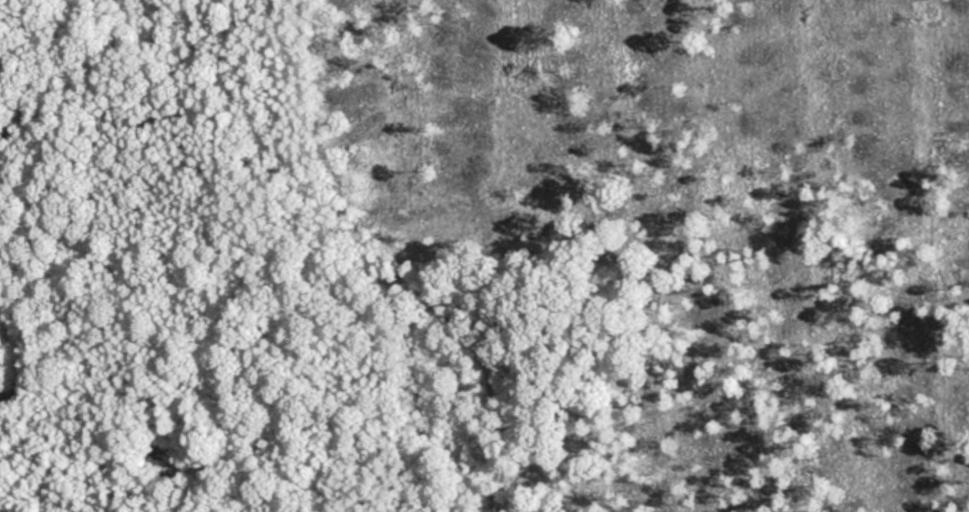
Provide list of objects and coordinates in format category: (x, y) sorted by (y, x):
park: (484, 256)

